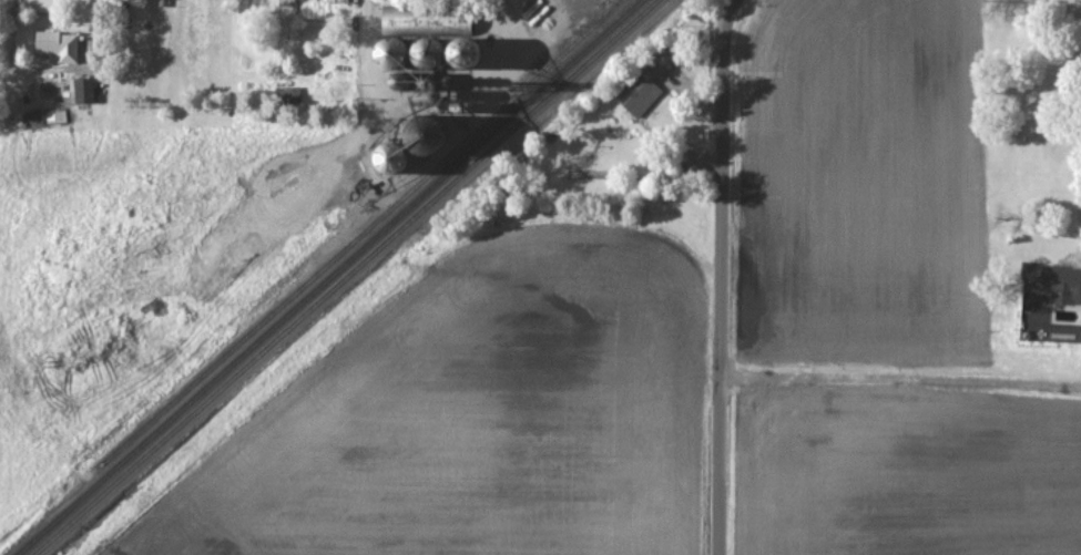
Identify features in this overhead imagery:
building: (339, 2)
road: (363, 8)
building: (59, 48)
building: (390, 51)
silo: (390, 51)
building: (426, 51)
silo: (426, 51)
building: (461, 51)
silo: (461, 51)
building: (662, 63)
road: (365, 73)
building: (84, 92)
building: (639, 96)
building: (427, 132)
silo: (427, 132)
building: (390, 156)
silo: (390, 156)
railway: (361, 232)
road: (717, 276)
railway: (327, 277)
railway: (344, 277)
building: (1053, 282)

